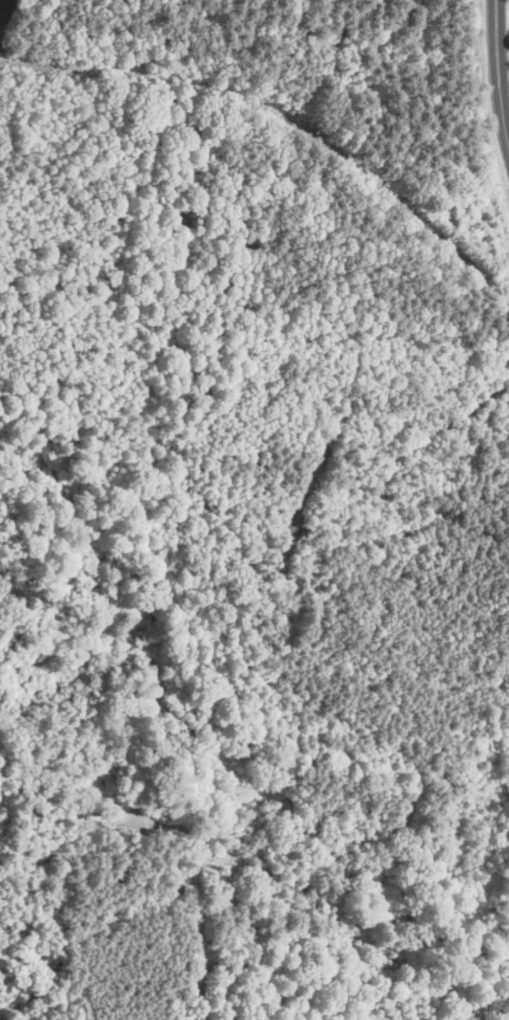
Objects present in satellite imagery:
road: (498, 74)
road: (167, 75)
road: (415, 216)

